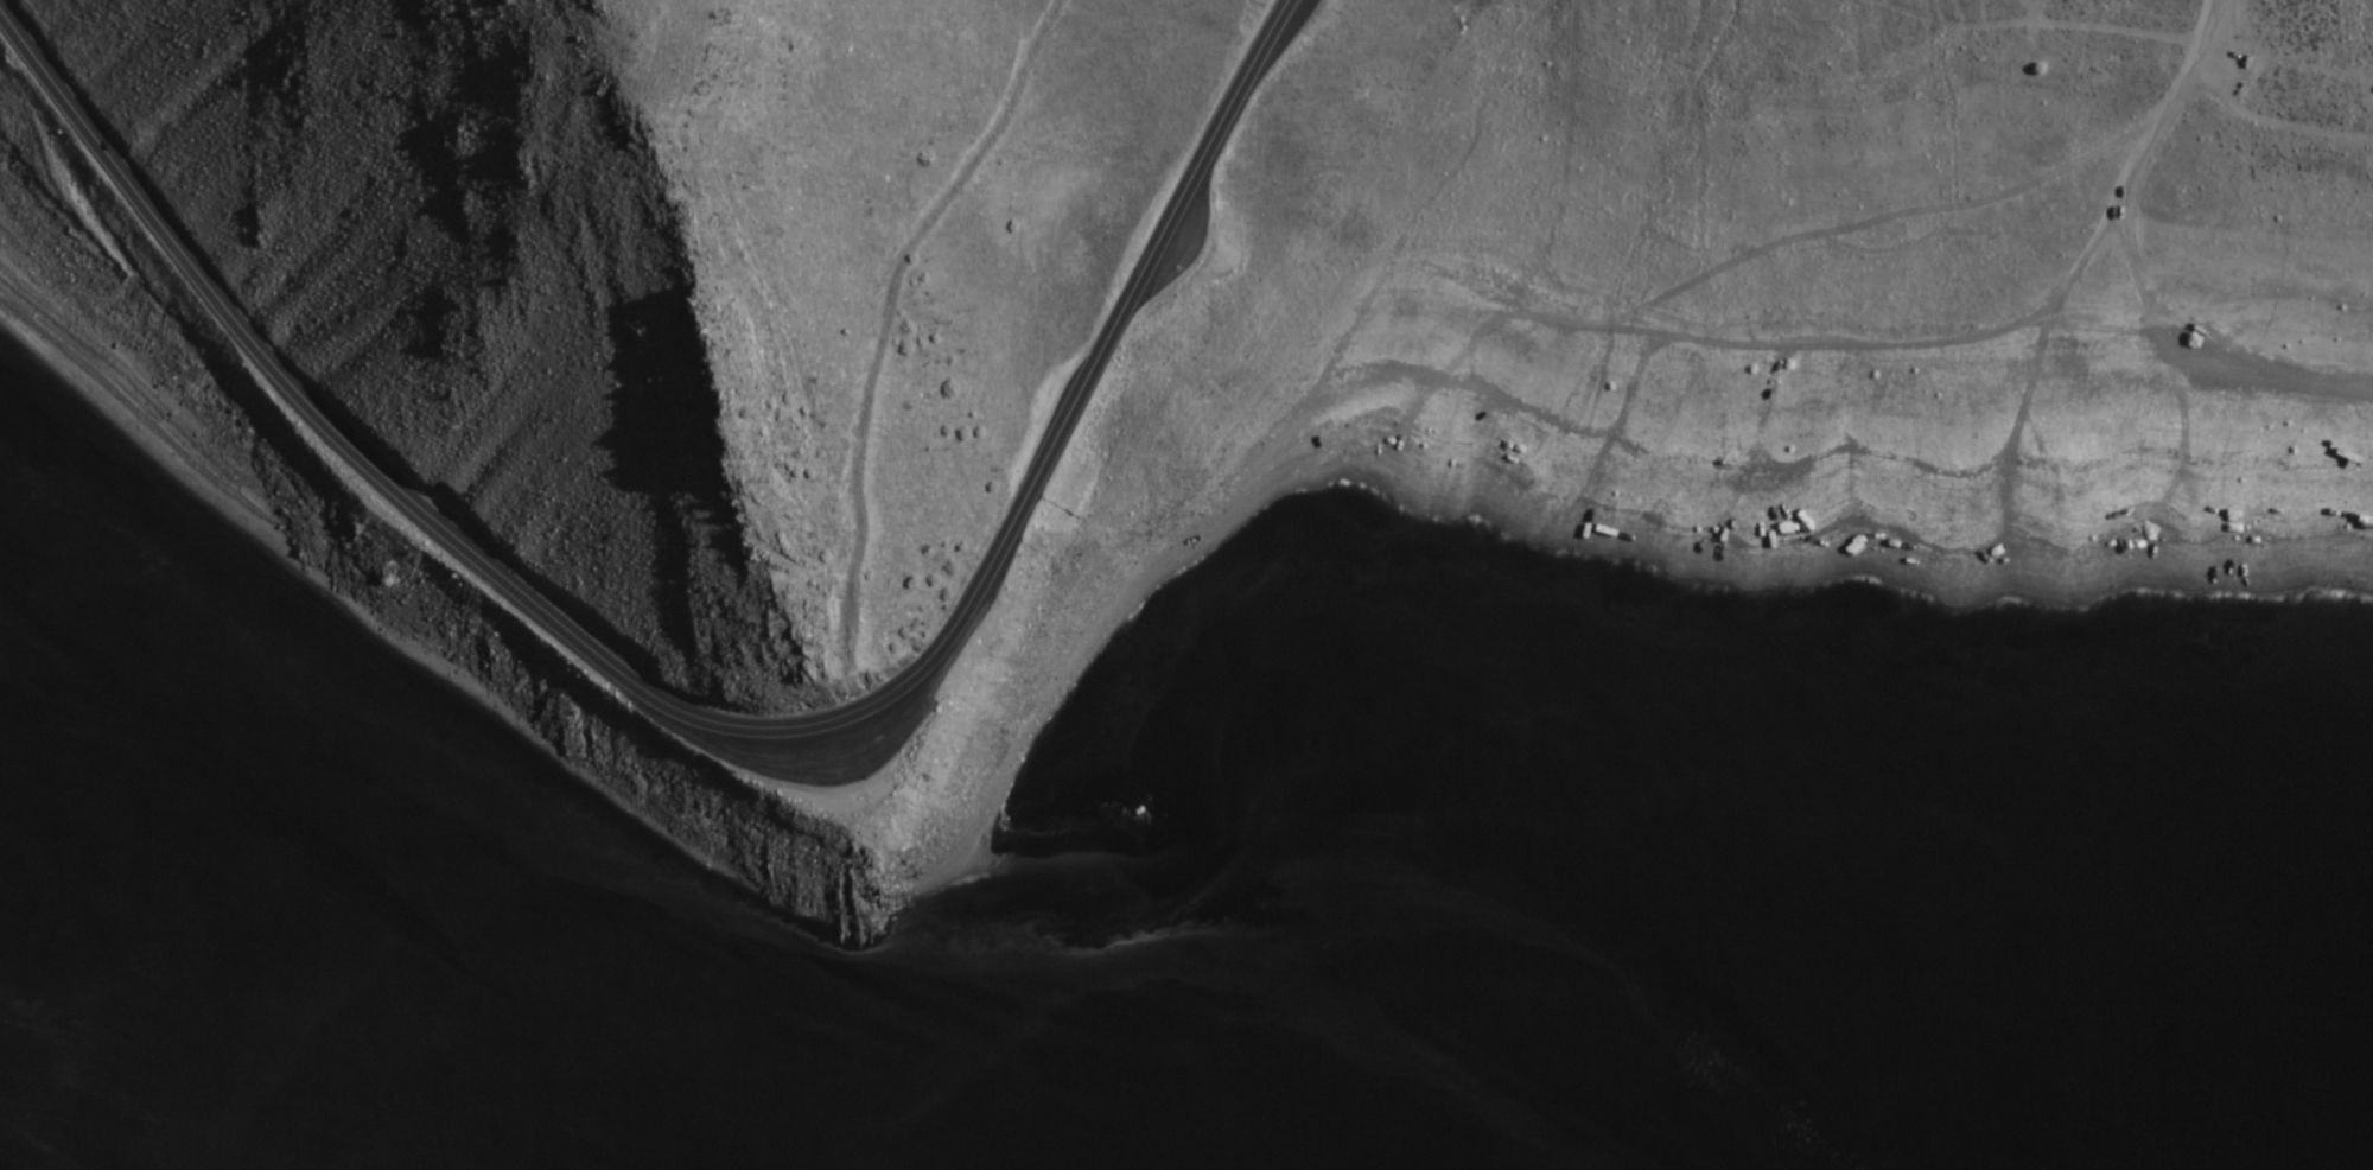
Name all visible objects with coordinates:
road: (700, 712)

